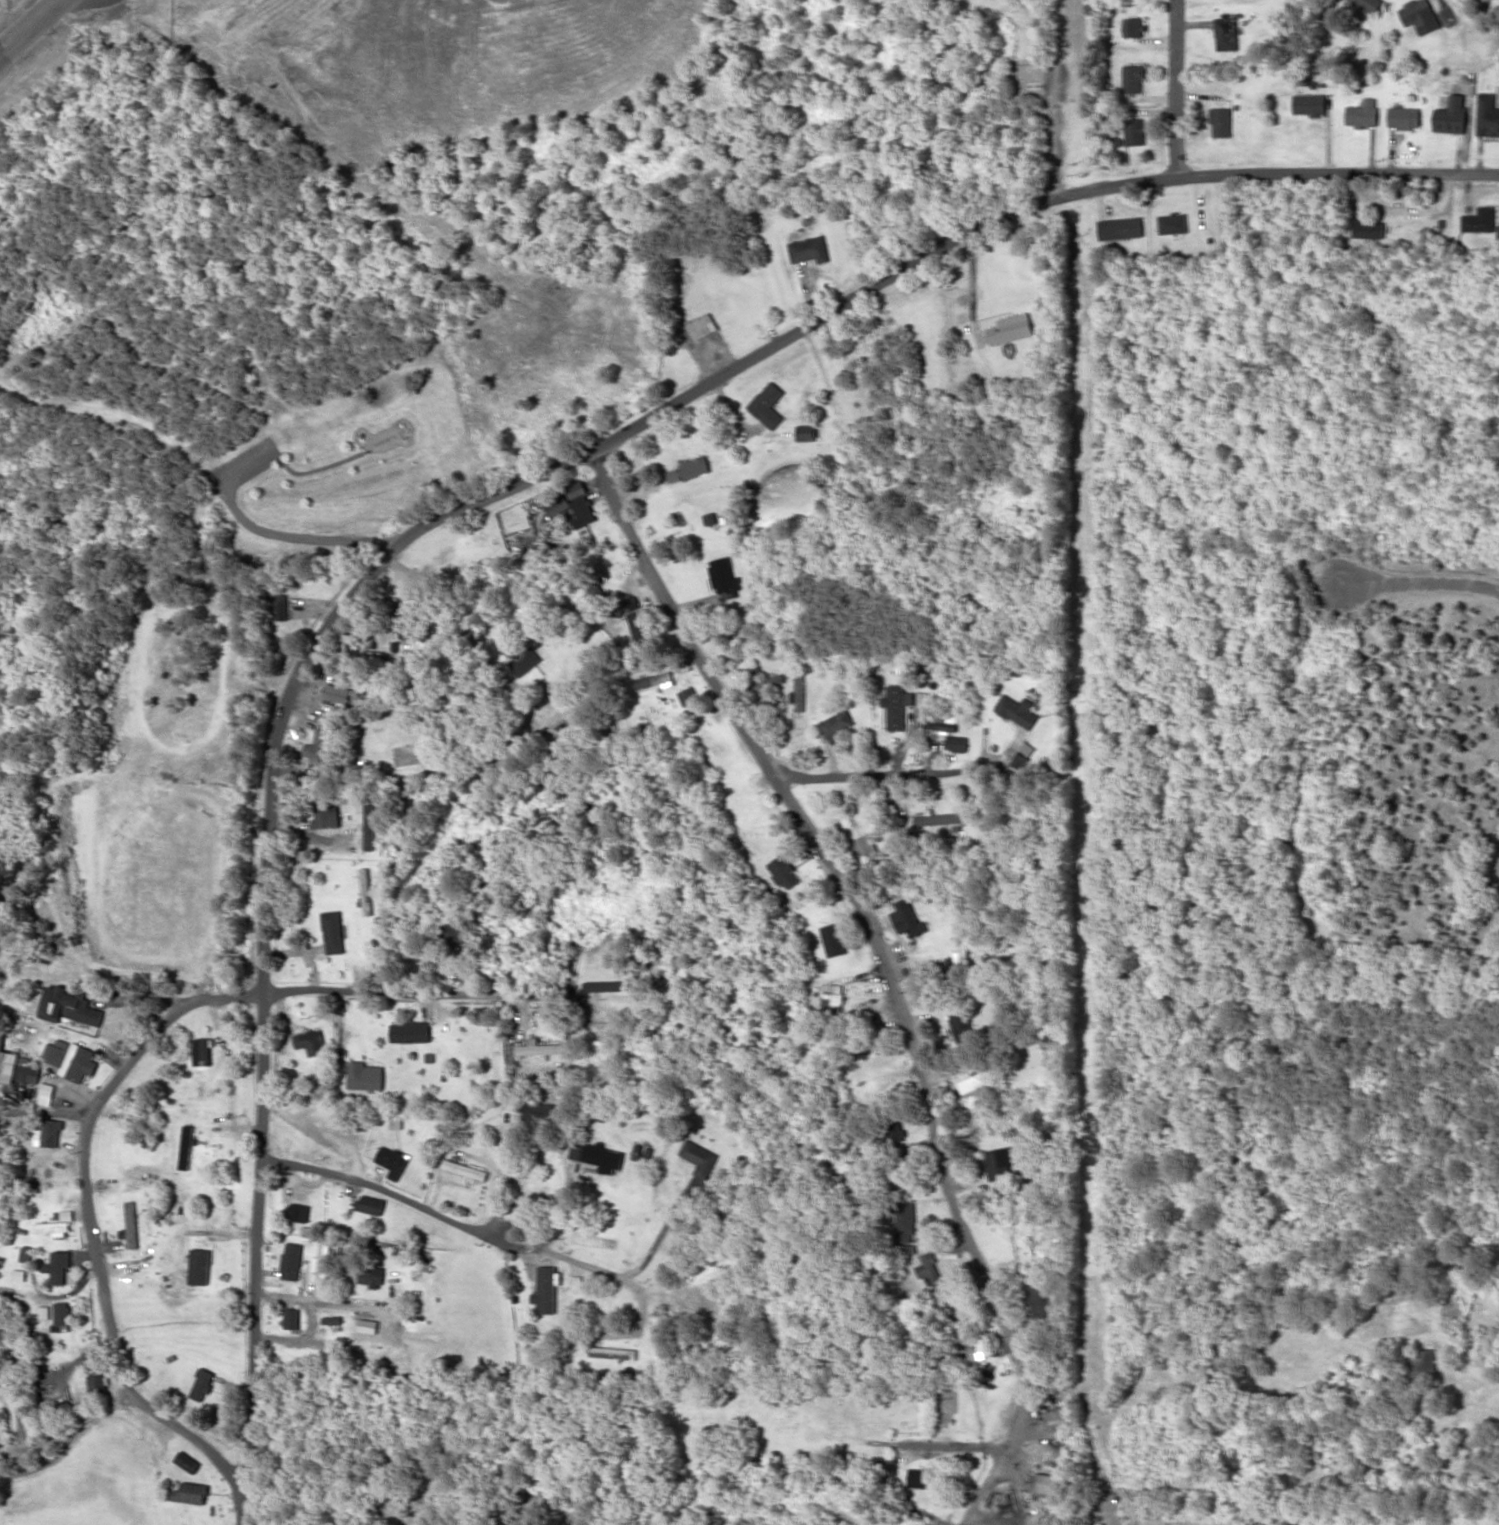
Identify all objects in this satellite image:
building: (1368, 4)
building: (1420, 15)
road: (29, 26)
building: (1133, 26)
building: (1225, 33)
building: (1134, 78)
road: (1177, 88)
building: (1309, 104)
building: (1362, 113)
building: (1487, 114)
building: (1451, 115)
building: (1403, 117)
building: (1221, 121)
building: (1135, 131)
building: (1480, 219)
building: (1173, 223)
building: (1121, 228)
building: (1368, 229)
building: (809, 249)
building: (704, 326)
building: (1010, 328)
building: (768, 404)
building: (806, 432)
building: (695, 467)
park: (335, 484)
building: (578, 489)
road: (472, 504)
building: (559, 504)
building: (584, 511)
building: (726, 578)
road: (1423, 580)
building: (633, 604)
building: (282, 606)
building: (641, 625)
building: (523, 659)
building: (655, 680)
building: (779, 689)
building: (339, 695)
building: (688, 695)
building: (921, 697)
building: (896, 705)
building: (1018, 710)
building: (941, 721)
building: (836, 725)
building: (957, 743)
building: (1020, 760)
road: (874, 772)
building: (326, 814)
building: (935, 817)
building: (369, 827)
building: (864, 844)
building: (784, 871)
building: (907, 918)
building: (334, 932)
building: (453, 933)
road: (873, 933)
building: (834, 939)
building: (933, 971)
road: (370, 991)
building: (613, 992)
building: (70, 1004)
building: (410, 1031)
building: (311, 1042)
building: (539, 1047)
building: (202, 1050)
building: (71, 1058)
building: (18, 1068)
building: (365, 1076)
building: (46, 1093)
building: (540, 1110)
building: (45, 1133)
building: (898, 1140)
building: (185, 1146)
building: (598, 1157)
building: (699, 1157)
building: (392, 1161)
building: (1001, 1162)
building: (465, 1169)
building: (371, 1204)
building: (298, 1212)
building: (131, 1224)
road: (90, 1226)
building: (53, 1227)
building: (905, 1231)
building: (292, 1260)
building: (323, 1262)
building: (58, 1266)
building: (198, 1266)
building: (929, 1271)
building: (372, 1276)
building: (547, 1289)
road: (316, 1298)
building: (1042, 1298)
building: (45, 1311)
building: (62, 1316)
building: (292, 1317)
building: (368, 1325)
building: (97, 1382)
building: (200, 1383)
building: (188, 1461)
building: (919, 1477)
building: (1047, 1483)
building: (191, 1492)

